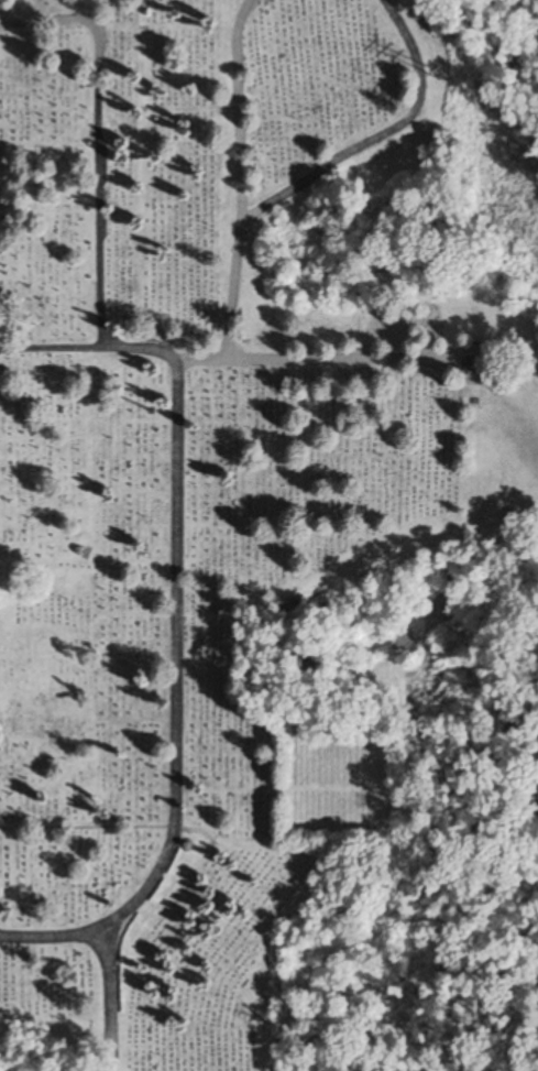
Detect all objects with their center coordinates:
power tower: (444, 76)
road: (237, 107)
road: (380, 135)
road: (98, 140)
road: (233, 287)
road: (359, 359)
road: (479, 528)
park: (266, 539)
road: (177, 620)
road: (109, 997)

